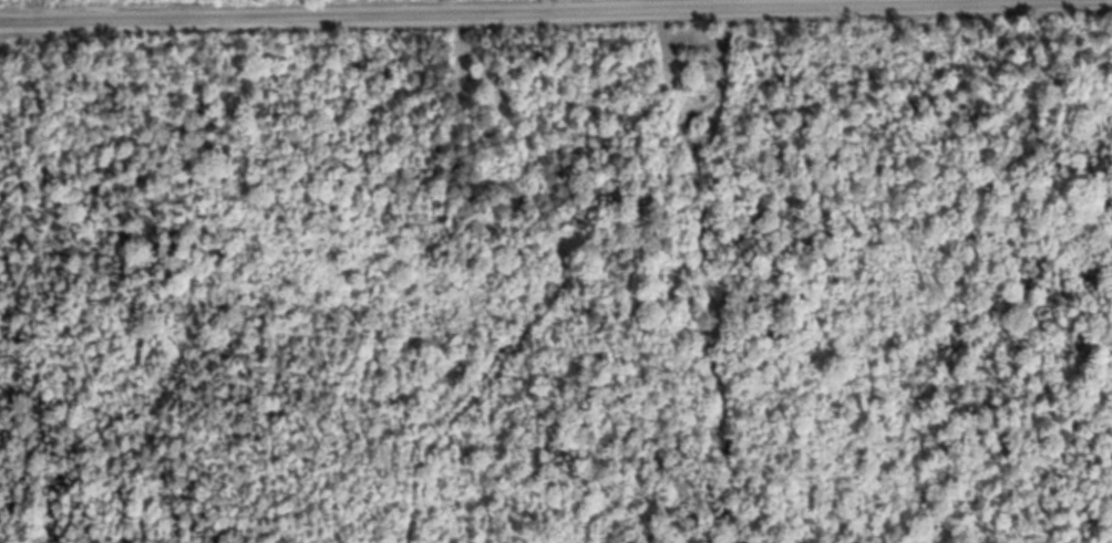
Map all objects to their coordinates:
road: (524, 11)

